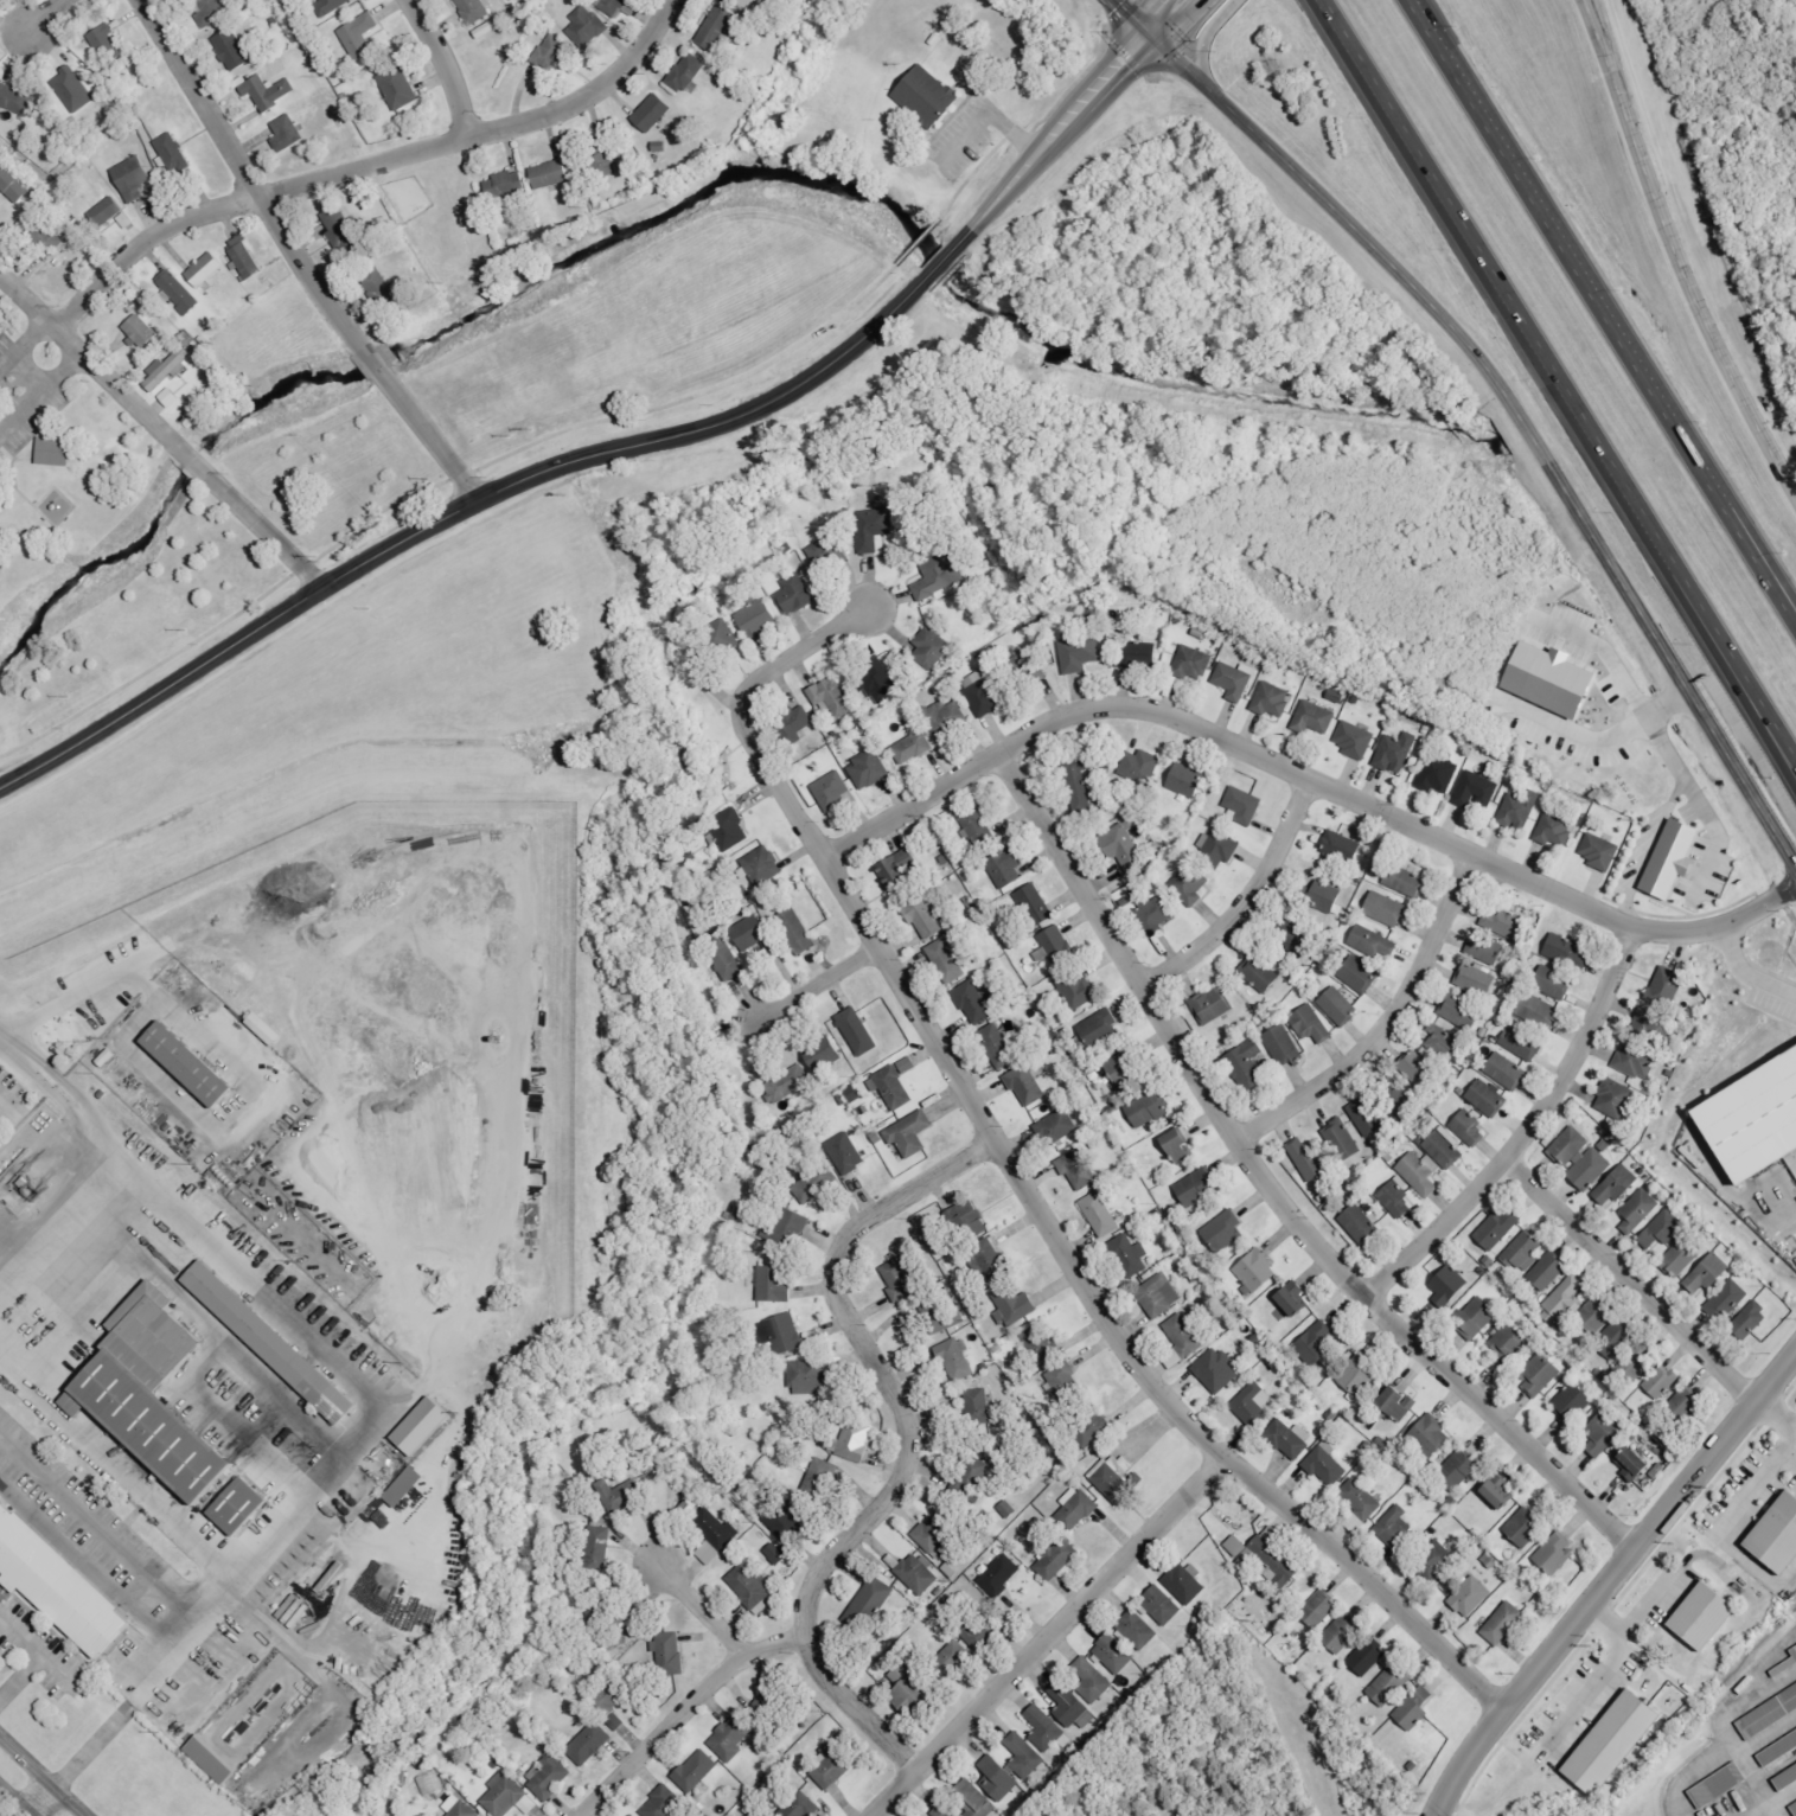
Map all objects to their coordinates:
building: (332, 5)
building: (612, 6)
building: (475, 9)
building: (210, 11)
road: (1225, 13)
road: (45, 17)
road: (1126, 19)
road: (1163, 19)
building: (587, 25)
building: (716, 27)
building: (485, 30)
building: (359, 36)
traffic signals: (1144, 38)
building: (107, 44)
building: (234, 50)
building: (551, 52)
road: (1204, 59)
road: (445, 65)
building: (686, 73)
building: (400, 88)
building: (75, 89)
building: (269, 91)
building: (929, 95)
building: (17, 98)
building: (653, 113)
building: (288, 133)
building: (174, 153)
road: (370, 165)
building: (552, 174)
building: (135, 178)
building: (13, 184)
building: (507, 185)
building: (108, 211)
building: (344, 228)
building: (47, 237)
road: (1674, 255)
road: (298, 256)
building: (248, 261)
building: (206, 269)
building: (382, 287)
building: (179, 292)
road: (1602, 308)
building: (142, 331)
building: (170, 367)
road: (1559, 384)
building: (170, 397)
parking lot: (23, 398)
road: (1516, 411)
road: (162, 428)
building: (55, 450)
road: (606, 450)
building: (875, 527)
park: (97, 548)
building: (827, 551)
building: (940, 575)
building: (797, 594)
building: (759, 619)
building: (720, 640)
building: (929, 648)
building: (1080, 653)
building: (1138, 654)
building: (1191, 663)
building: (1020, 667)
building: (1557, 679)
building: (1235, 680)
building: (881, 684)
building: (984, 691)
building: (832, 698)
building: (1273, 699)
road: (743, 708)
building: (1315, 716)
building: (945, 718)
building: (795, 723)
building: (1356, 740)
building: (912, 747)
building: (1396, 753)
building: (1140, 766)
building: (870, 769)
building: (1438, 774)
road: (1304, 778)
building: (1187, 780)
building: (1080, 782)
building: (1476, 789)
building: (833, 791)
road: (1673, 795)
building: (1520, 810)
building: (979, 826)
building: (730, 830)
building: (1555, 831)
road: (1717, 833)
building: (1343, 846)
building: (1127, 848)
building: (1220, 848)
building: (1602, 852)
building: (1675, 858)
building: (762, 864)
building: (900, 867)
building: (1006, 868)
building: (1405, 881)
building: (1191, 884)
building: (1324, 896)
road: (1247, 901)
building: (1035, 904)
building: (1387, 909)
building: (1156, 916)
building: (926, 917)
building: (1506, 923)
building: (797, 931)
building: (753, 932)
building: (1297, 940)
building: (1373, 942)
building: (1055, 946)
building: (1485, 949)
building: (724, 958)
building: (946, 960)
building: (1260, 974)
building: (1359, 974)
building: (1478, 980)
building: (1553, 981)
road: (818, 984)
building: (1666, 987)
building: (1078, 991)
building: (977, 1002)
building: (1214, 1005)
building: (1338, 1006)
building: (1540, 1011)
building: (1461, 1013)
building: (1312, 1024)
road: (1386, 1025)
building: (1099, 1027)
building: (1651, 1027)
building: (267, 1028)
building: (858, 1031)
building: (1442, 1042)
building: (1522, 1043)
building: (998, 1046)
building: (1283, 1046)
road: (14, 1047)
building: (825, 1053)
building: (190, 1060)
building: (1636, 1061)
building: (1247, 1064)
building: (1125, 1068)
building: (1420, 1070)
building: (1506, 1070)
building: (788, 1085)
building: (1027, 1085)
building: (894, 1087)
building: (1404, 1096)
building: (1488, 1098)
building: (1613, 1098)
building: (1149, 1108)
building: (1368, 1117)
building: (1759, 1121)
building: (1057, 1127)
building: (1470, 1128)
road: (1526, 1131)
building: (912, 1133)
building: (1340, 1140)
building: (1182, 1142)
building: (1445, 1149)
building: (849, 1153)
building: (1579, 1158)
building: (1310, 1160)
building: (1079, 1169)
building: (1421, 1174)
building: (816, 1182)
building: (1617, 1185)
building: (1197, 1188)
road: (1270, 1188)
building: (1398, 1198)
building: (1638, 1210)
building: (1100, 1214)
building: (971, 1219)
building: (1361, 1224)
building: (787, 1228)
building: (1662, 1228)
building: (1497, 1229)
building: (1225, 1230)
building: (1523, 1249)
building: (1130, 1255)
building: (1681, 1258)
building: (990, 1259)
building: (1548, 1270)
building: (1258, 1271)
building: (1708, 1275)
building: (900, 1279)
road: (1629, 1279)
building: (774, 1285)
building: (1446, 1290)
building: (1159, 1294)
building: (1295, 1298)
building: (1565, 1298)
building: (1727, 1300)
building: (1015, 1304)
building: (1594, 1315)
building: (1477, 1317)
building: (1752, 1318)
road: (1111, 1328)
building: (784, 1332)
building: (1183, 1335)
building: (270, 1338)
building: (1615, 1338)
building: (1508, 1343)
building: (1315, 1344)
building: (1044, 1345)
building: (957, 1358)
building: (1636, 1360)
building: (1217, 1370)
building: (1359, 1374)
building: (1540, 1375)
building: (807, 1376)
building: (1660, 1381)
building: (1067, 1383)
building: (153, 1390)
building: (1399, 1401)
building: (1572, 1402)
building: (978, 1403)
building: (1254, 1405)
building: (1682, 1405)
road: (1776, 1414)
building: (426, 1426)
building: (1094, 1432)
building: (1604, 1433)
building: (1431, 1435)
building: (1290, 1438)
building: (854, 1441)
road: (907, 1444)
building: (1327, 1465)
building: (1635, 1465)
building: (1459, 1469)
building: (1116, 1476)
building: (971, 1477)
road: (1753, 1477)
building: (820, 1479)
building: (403, 1482)
building: (622, 1495)
building: (1502, 1496)
building: (1361, 1500)
building: (239, 1504)
building: (1076, 1509)
building: (1008, 1510)
building: (791, 1517)
building: (1394, 1528)
building: (1525, 1528)
building: (937, 1533)
building: (714, 1535)
building: (1778, 1539)
building: (600, 1543)
building: (778, 1554)
building: (1555, 1554)
building: (1268, 1556)
building: (1056, 1559)
building: (1436, 1560)
building: (919, 1574)
building: (1002, 1575)
road: (1610, 1580)
building: (57, 1582)
building: (1185, 1582)
building: (749, 1585)
building: (1471, 1597)
building: (869, 1605)
building: (1163, 1606)
building: (1321, 1607)
road: (703, 1609)
building: (1707, 1617)
building: (1503, 1623)
building: (980, 1630)
building: (1138, 1630)
building: (1343, 1631)
road: (1049, 1636)
road: (37, 1644)
building: (1794, 1652)
building: (667, 1654)
building: (1114, 1655)
building: (1367, 1657)
building: (953, 1661)
road: (21, 1673)
building: (1092, 1680)
building: (1388, 1687)
building: (913, 1693)
building: (767, 1702)
building: (1072, 1707)
building: (1415, 1708)
road: (682, 1709)
building: (1769, 1713)
building: (613, 1719)
building: (1046, 1729)
building: (727, 1737)
building: (587, 1741)
building: (1616, 1744)
road: (92, 1746)
building: (1023, 1756)
building: (209, 1760)
building: (833, 1767)
building: (695, 1770)
building: (547, 1776)
road: (40, 1777)
building: (998, 1778)
building: (428, 1783)
building: (1719, 1786)
building: (507, 1793)
building: (972, 1797)
road: (19, 1798)
road: (43, 1799)
building: (664, 1801)
building: (1794, 1803)
building: (799, 1804)
building: (459, 1807)
building: (944, 1811)
building: (631, 1815)

